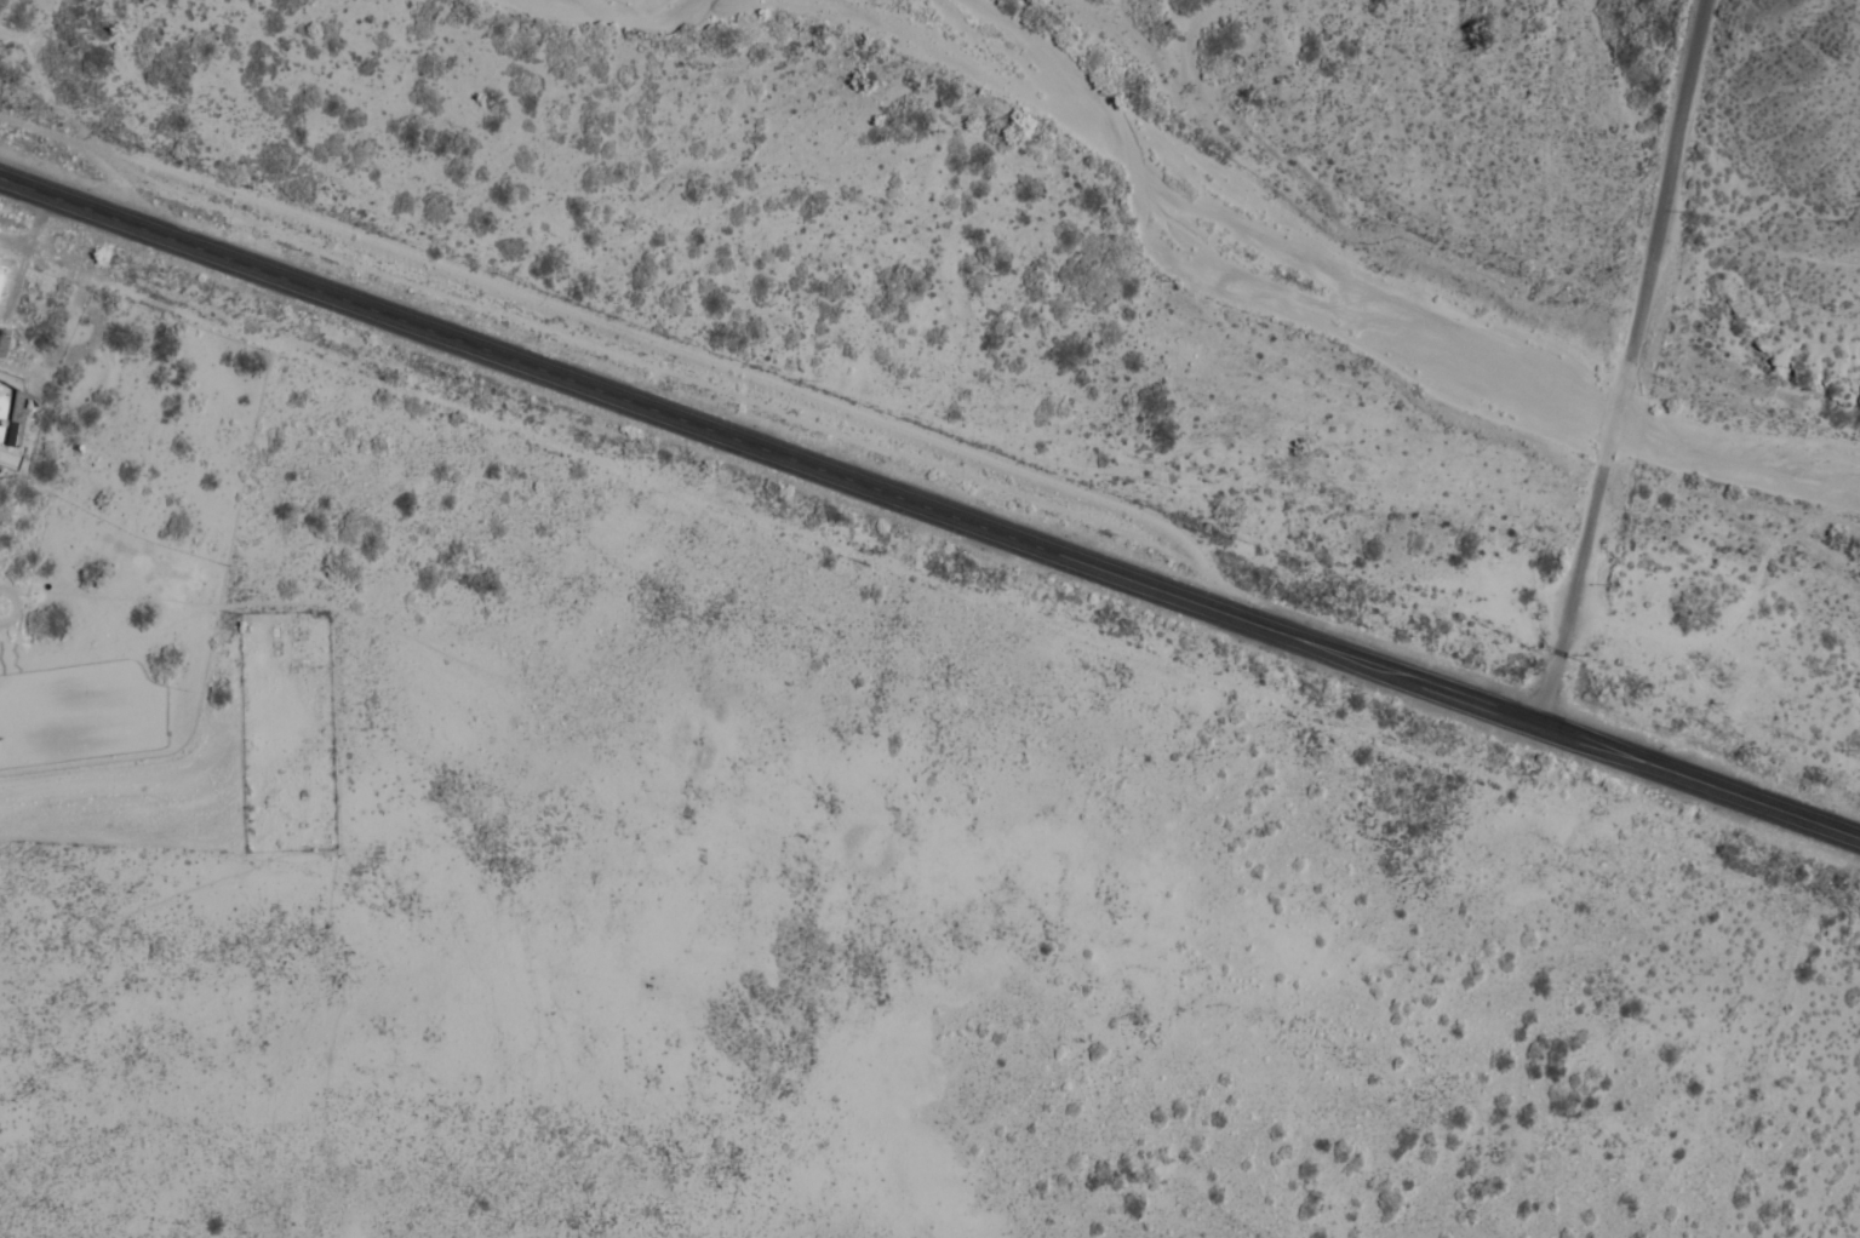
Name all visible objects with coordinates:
road: (1646, 361)
building: (17, 423)
road: (929, 505)
park: (285, 732)

